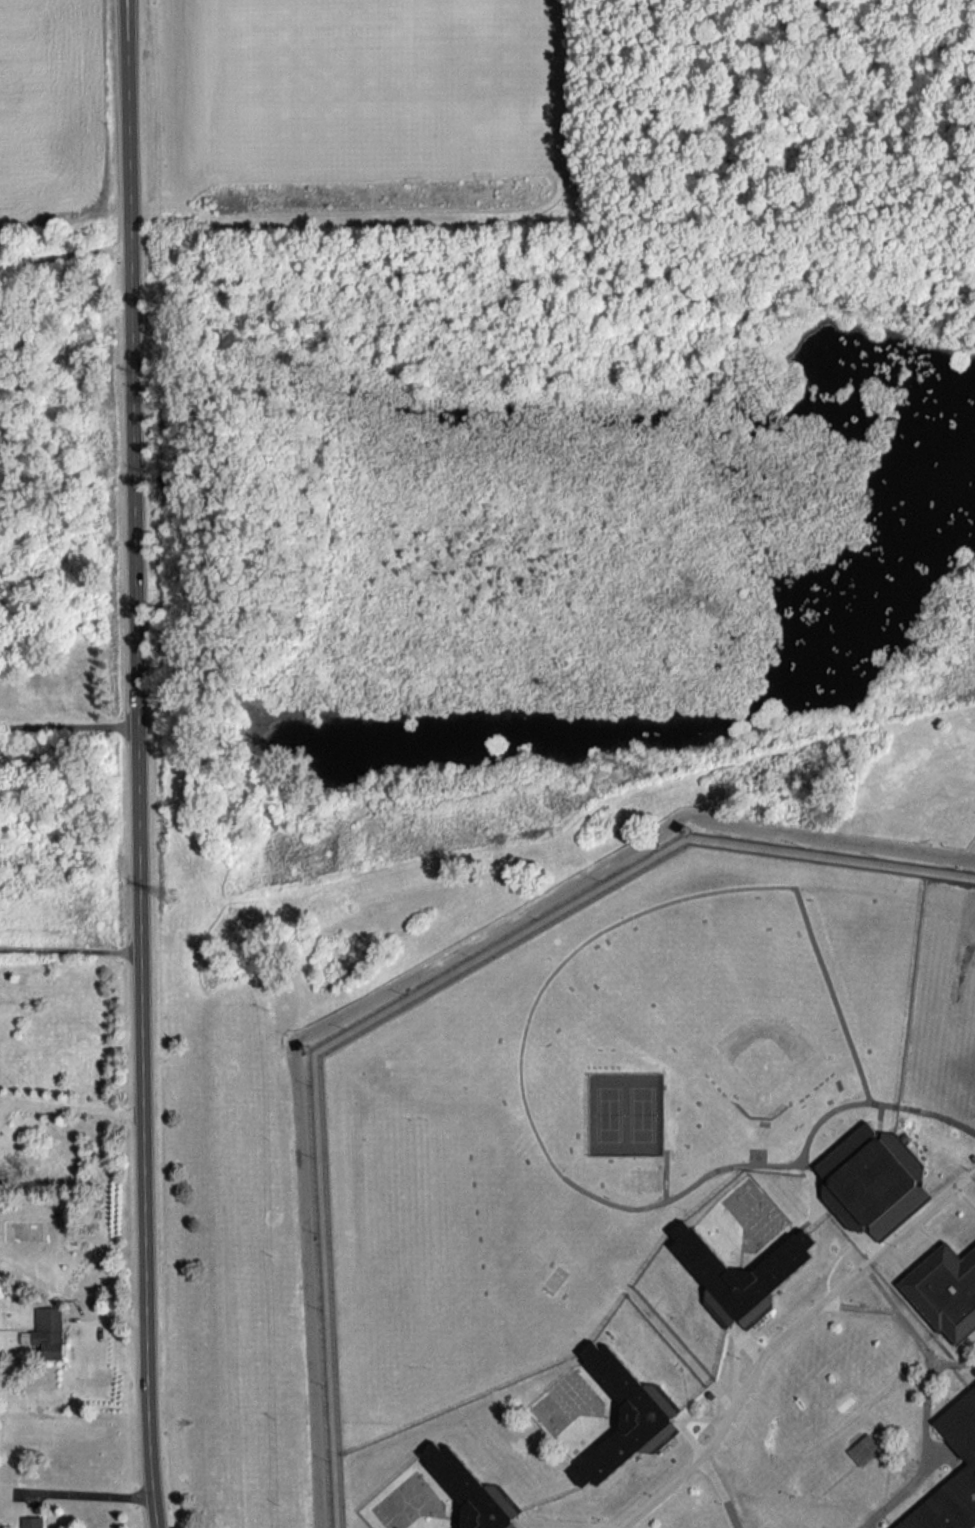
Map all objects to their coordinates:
park: (551, 117)
road: (67, 255)
road: (71, 727)
road: (143, 764)
power tower: (637, 776)
power tower: (170, 895)
road: (73, 951)
road: (394, 973)
road: (6, 1103)
road: (81, 1109)
road: (7, 1114)
building: (871, 1178)
building: (739, 1271)
building: (945, 1285)
building: (49, 1331)
building: (625, 1415)
building: (962, 1441)
building: (472, 1490)
road: (94, 1493)
building: (33, 1521)

